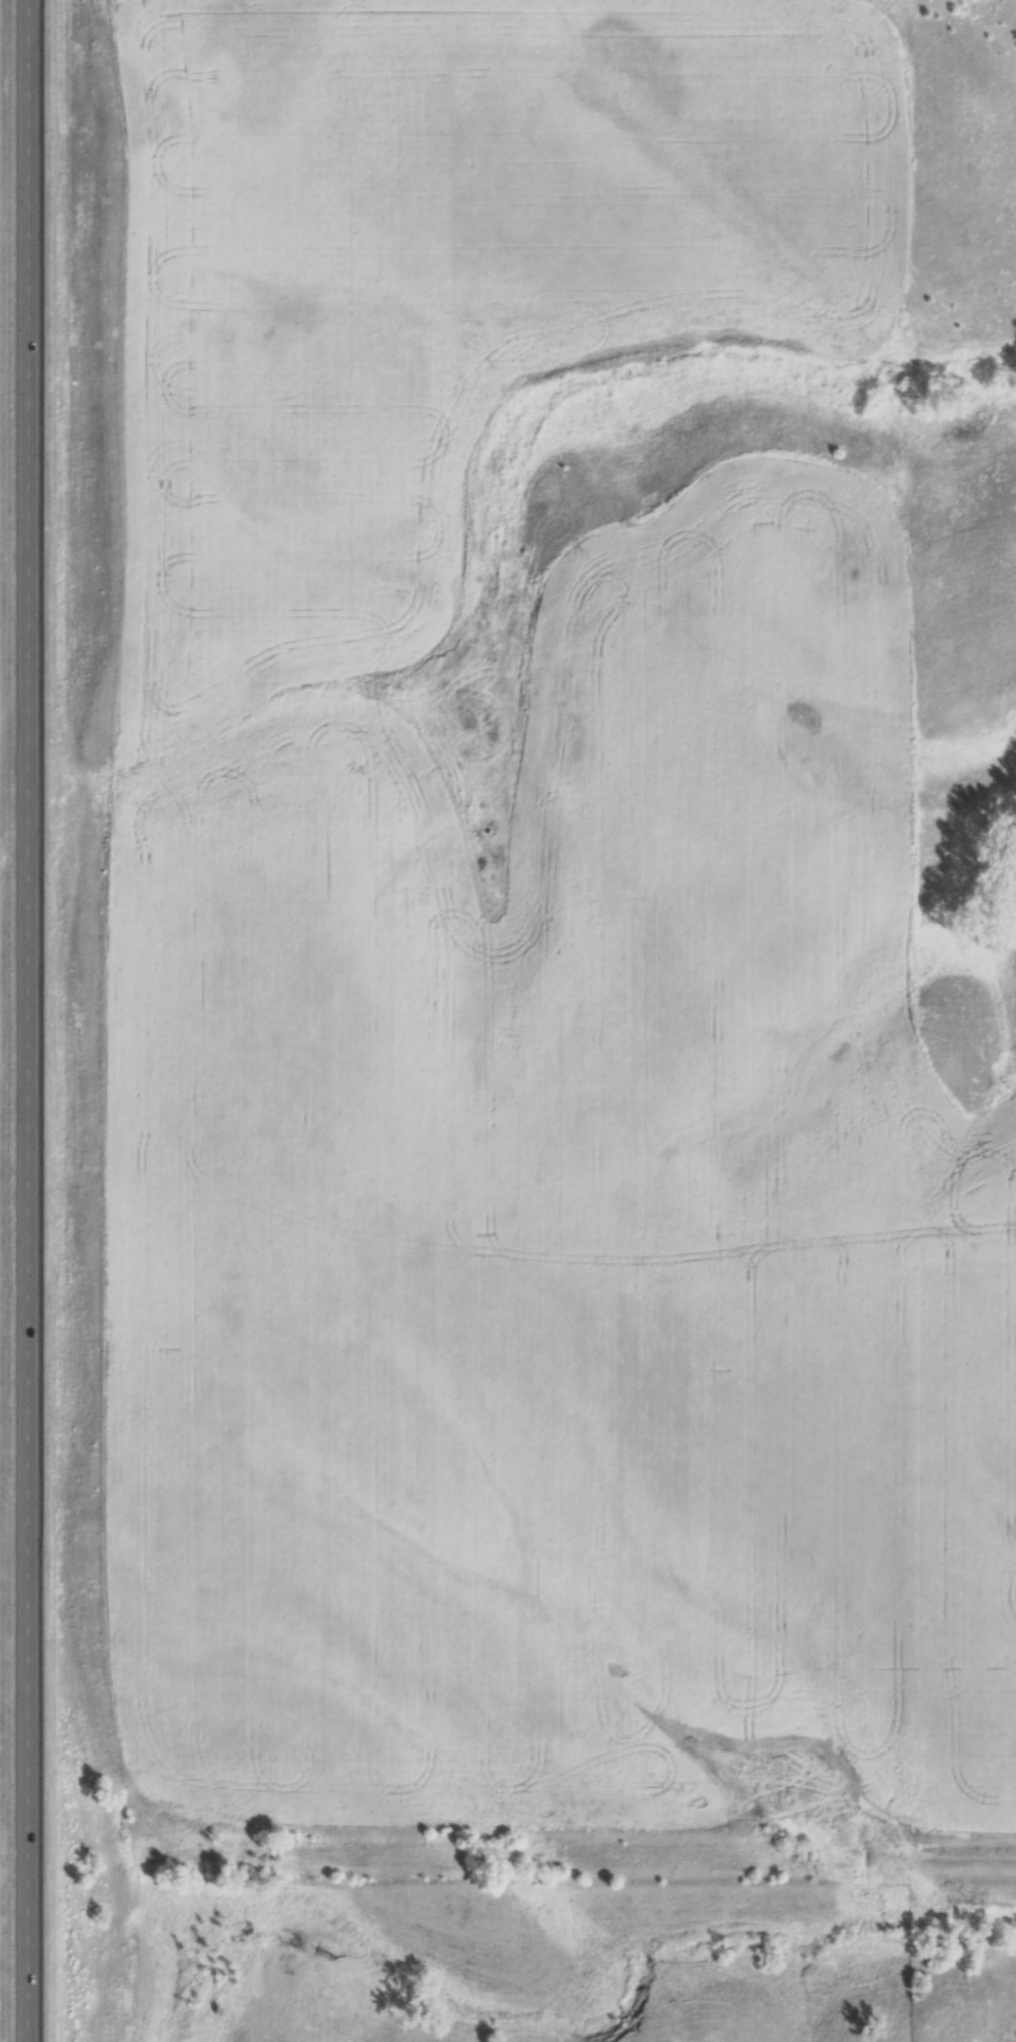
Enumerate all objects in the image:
road: (21, 1021)
road: (993, 1875)

